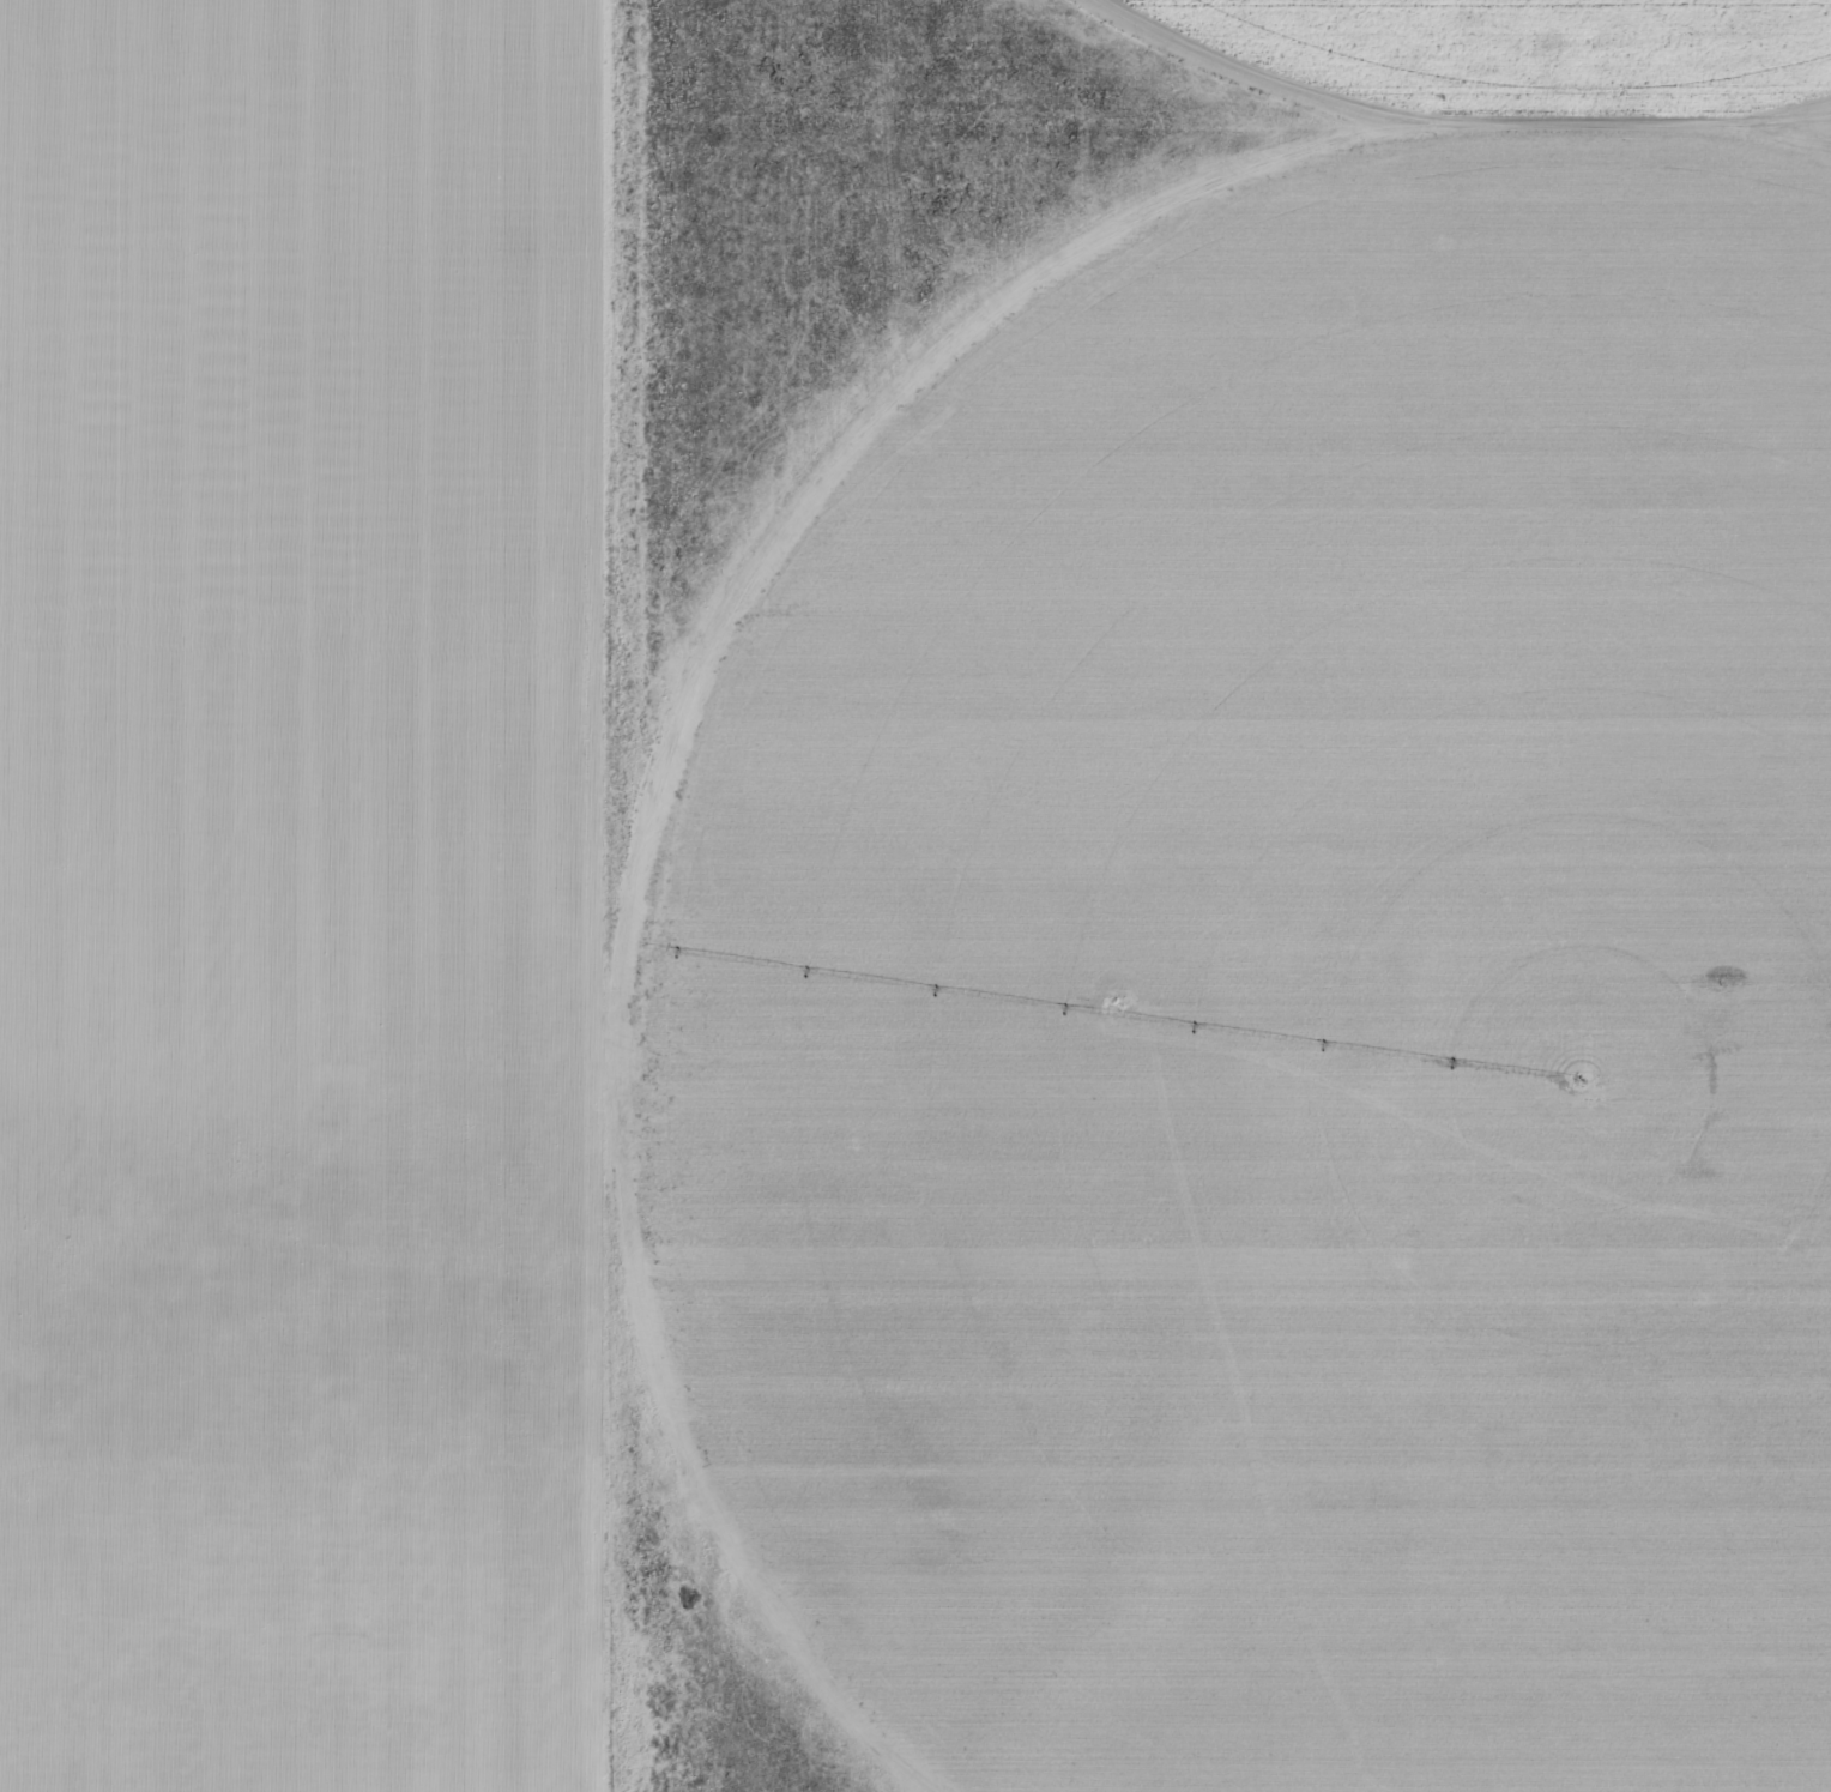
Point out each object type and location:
road: (1619, 120)

